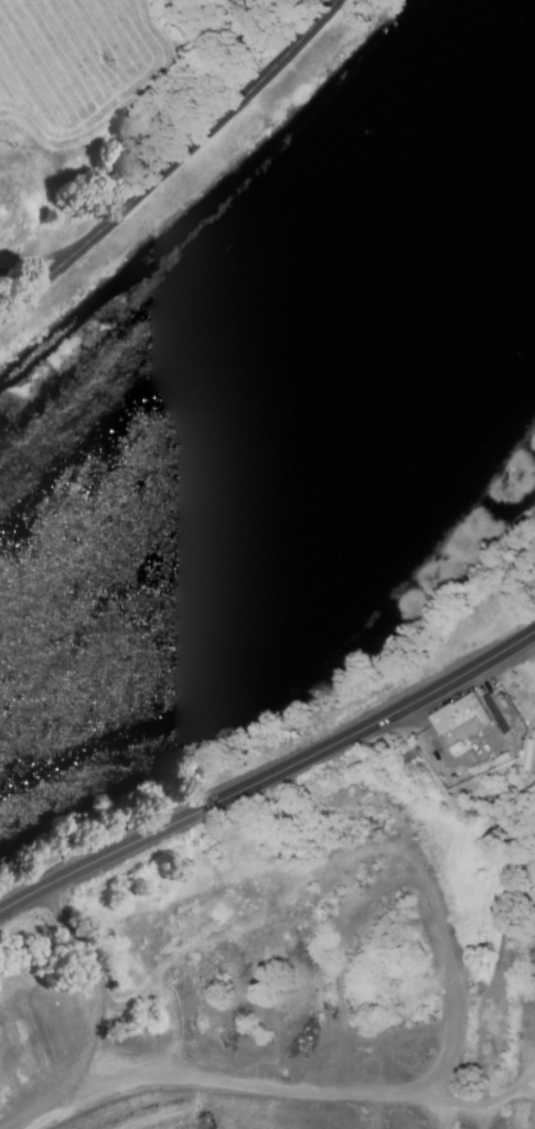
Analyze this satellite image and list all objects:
crop: (108, 114)
road: (175, 164)
river: (277, 369)
building: (470, 719)
road: (269, 776)
road: (452, 986)
road: (97, 1022)
road: (313, 1092)
road: (379, 1114)
road: (449, 1117)

